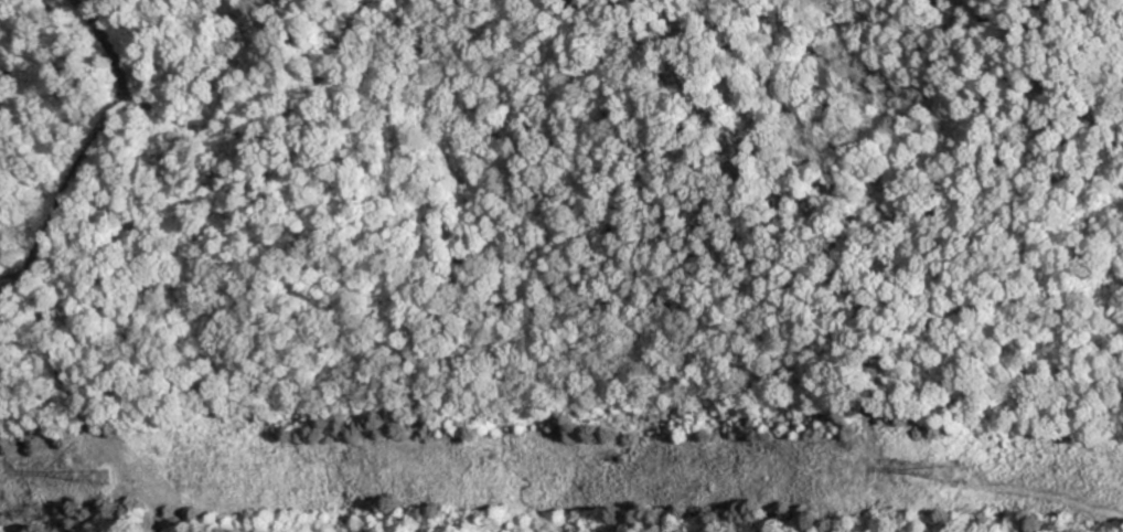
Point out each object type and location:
power tower: (953, 477)
power tower: (104, 478)

